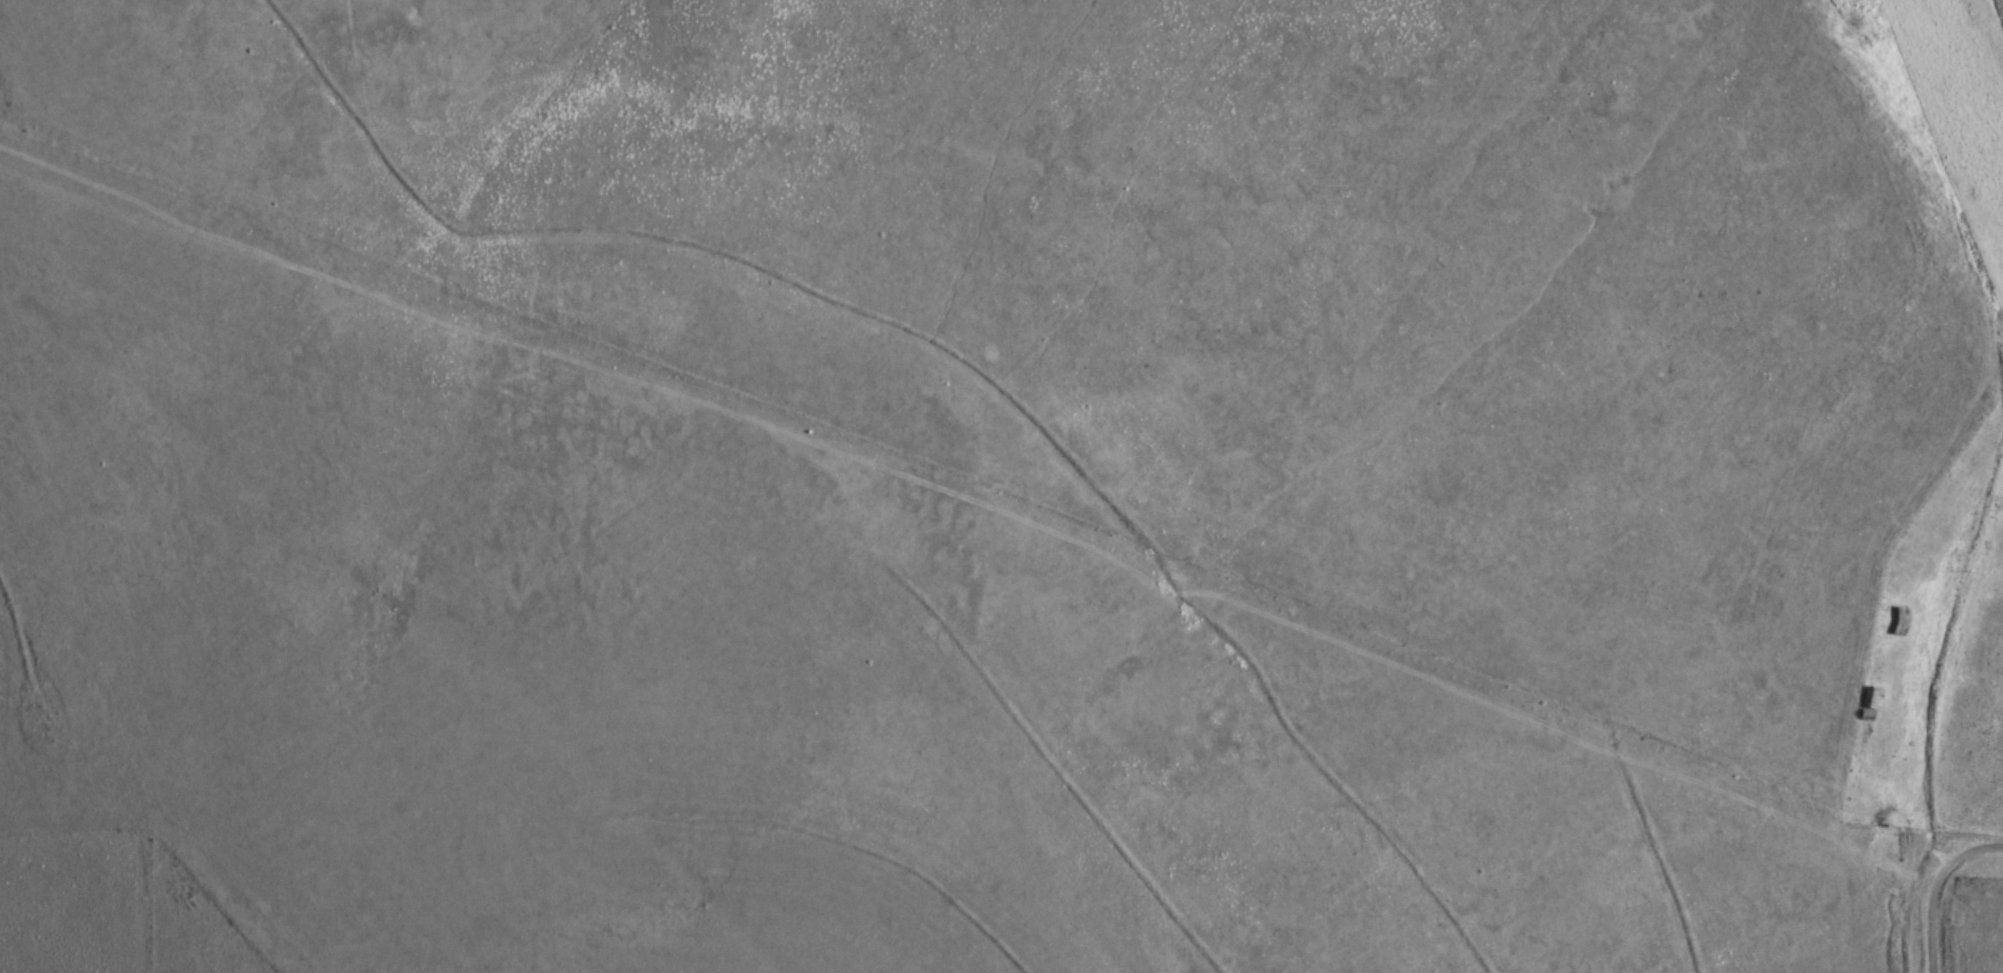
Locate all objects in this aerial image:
building: (1899, 620)
building: (1871, 702)
road: (1946, 903)

